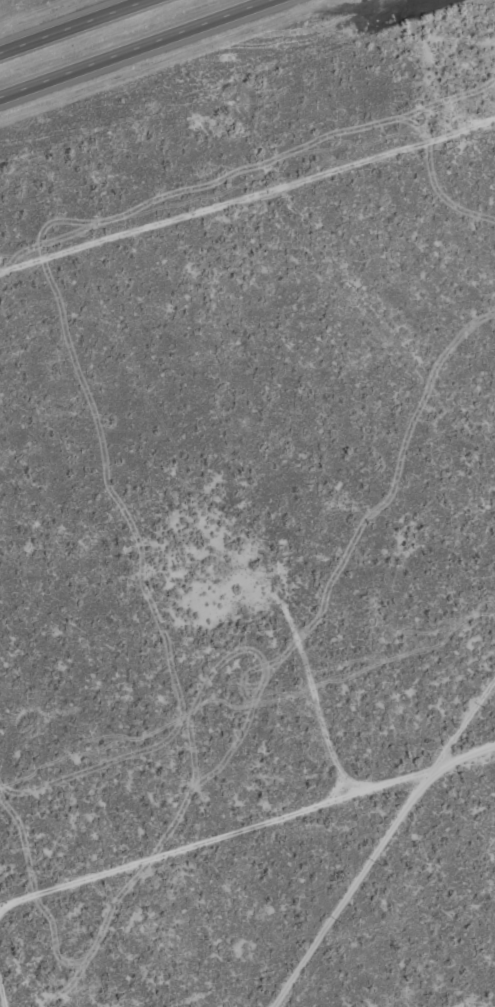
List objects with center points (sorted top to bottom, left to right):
road: (74, 26)
road: (134, 48)
road: (247, 204)
road: (247, 861)

